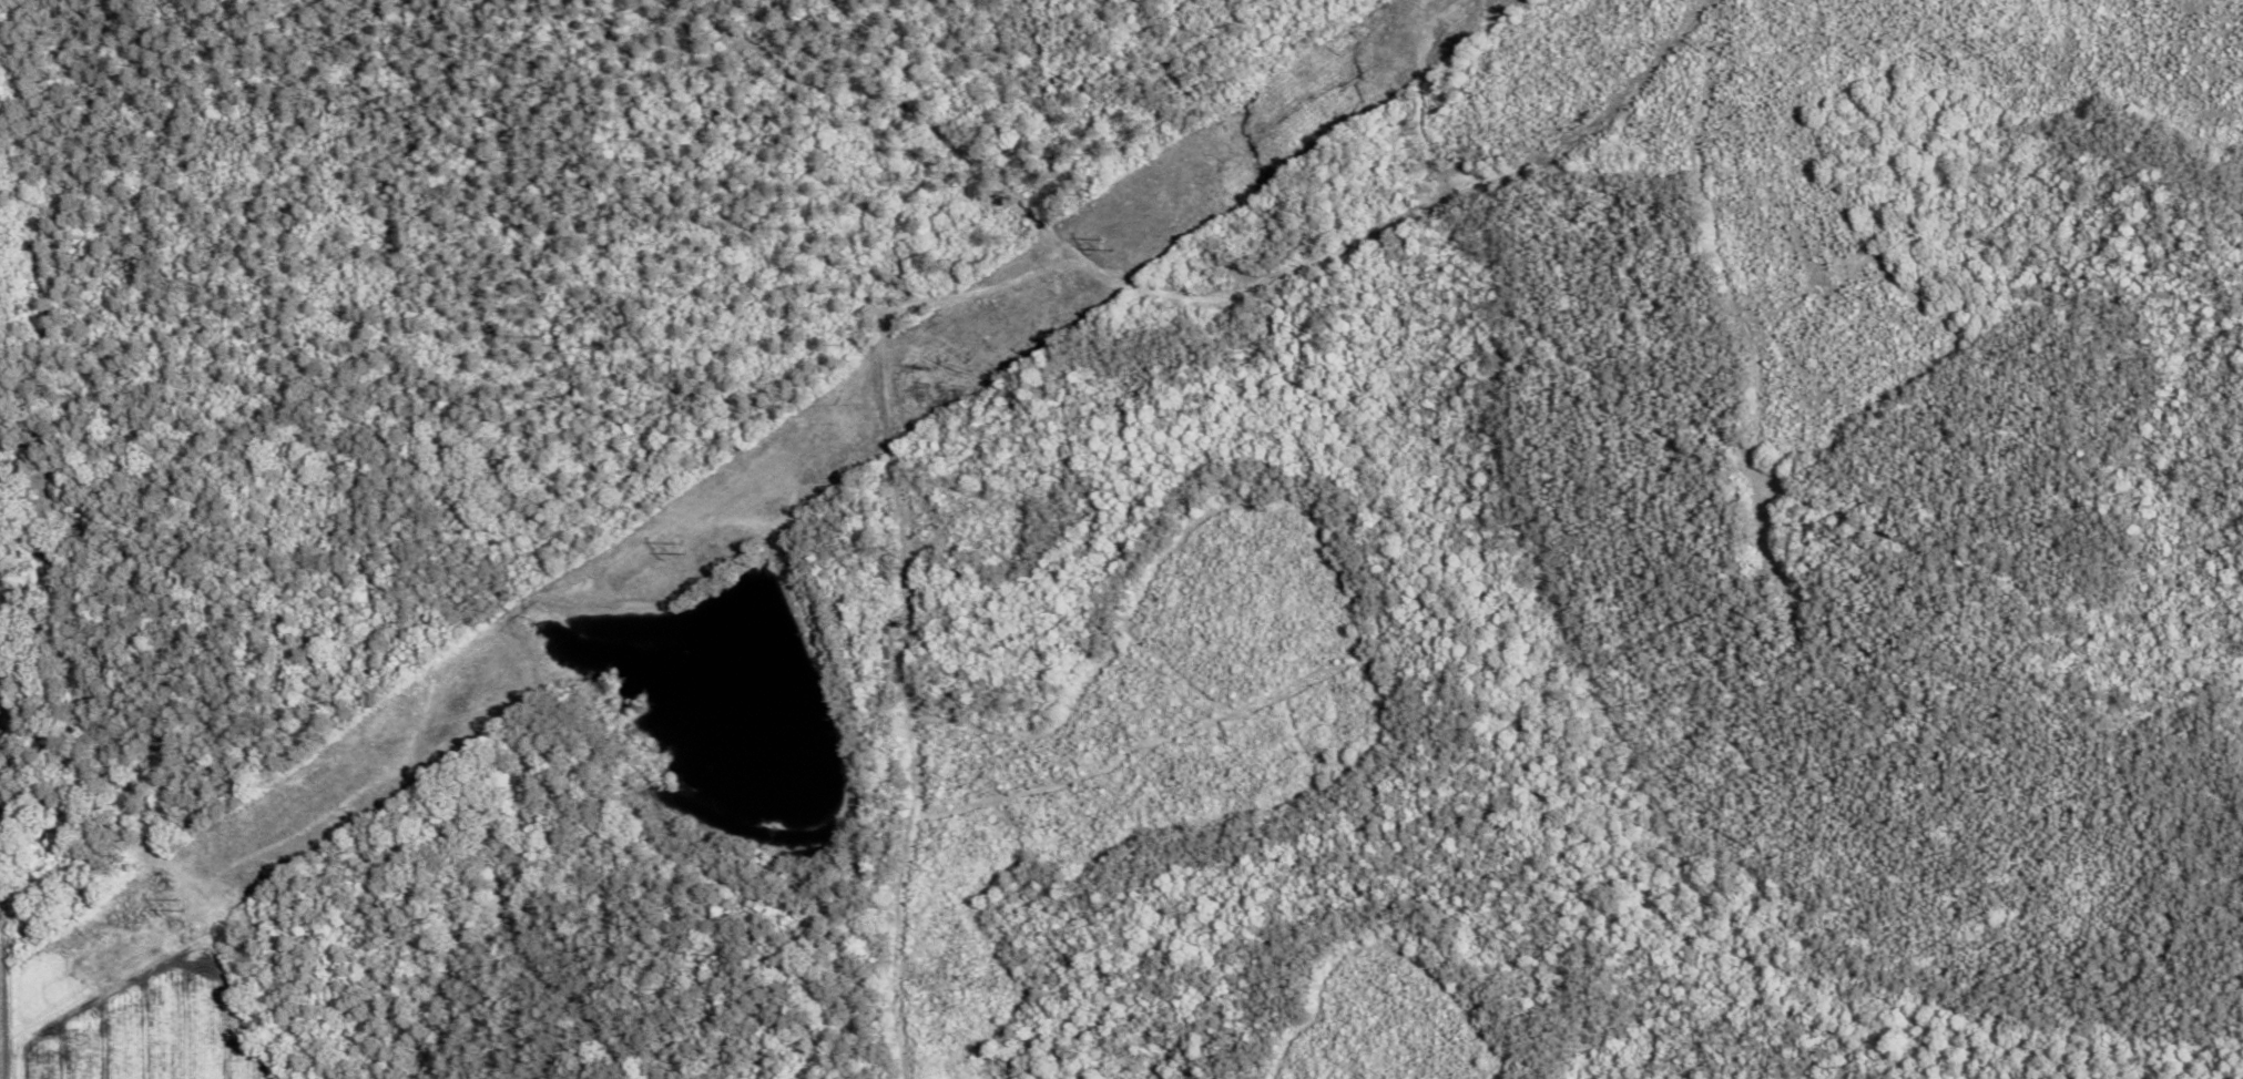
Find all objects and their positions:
power tower: (1112, 245)
power tower: (680, 549)
power tower: (172, 906)

